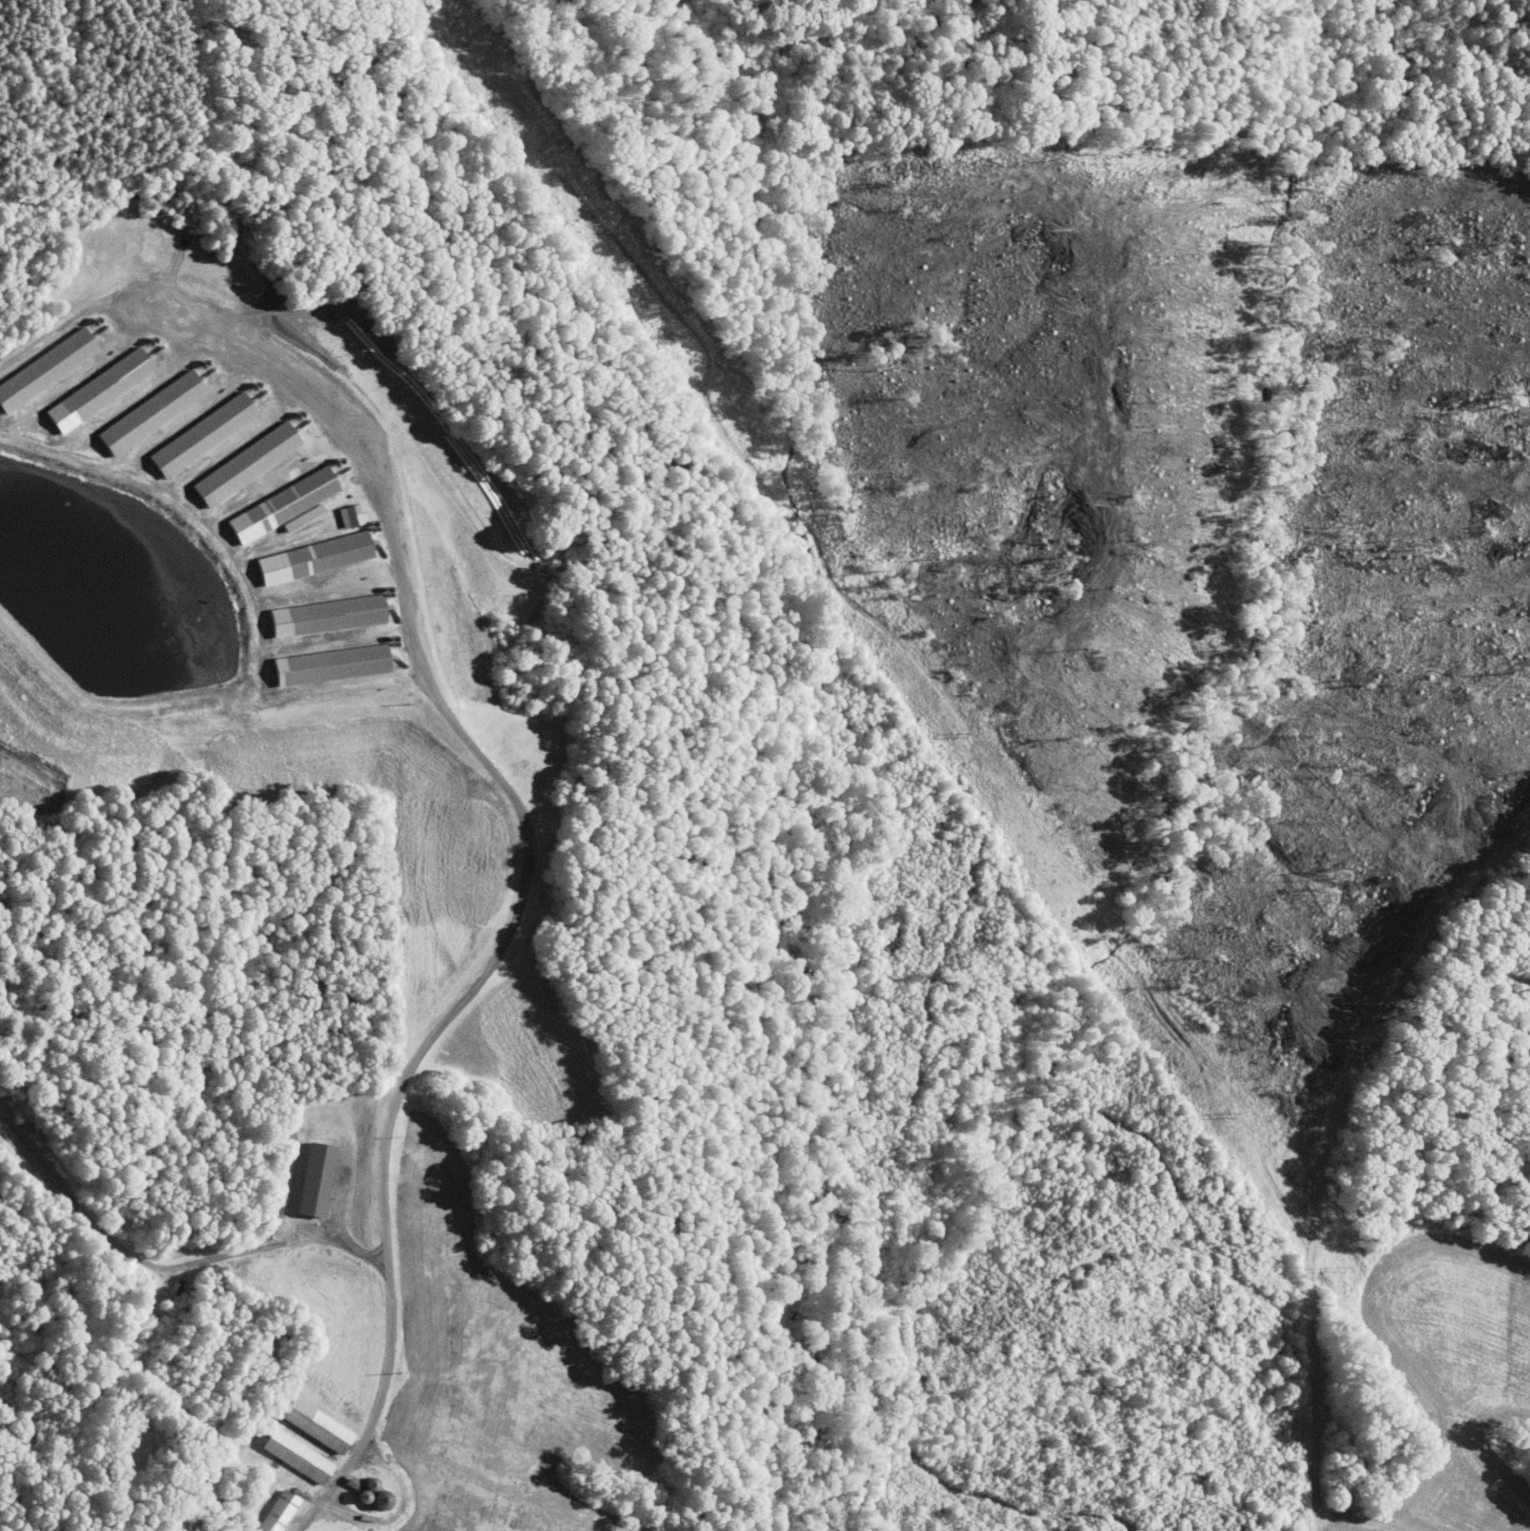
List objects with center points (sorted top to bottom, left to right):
road: (130, 319)
building: (40, 359)
building: (87, 383)
building: (139, 406)
building: (190, 428)
building: (234, 457)
building: (271, 498)
building: (338, 509)
building: (290, 511)
building: (303, 551)
building: (315, 609)
building: (319, 659)
road: (520, 901)
building: (303, 1172)
building: (304, 1418)
building: (285, 1449)
building: (370, 1493)
building: (265, 1508)

